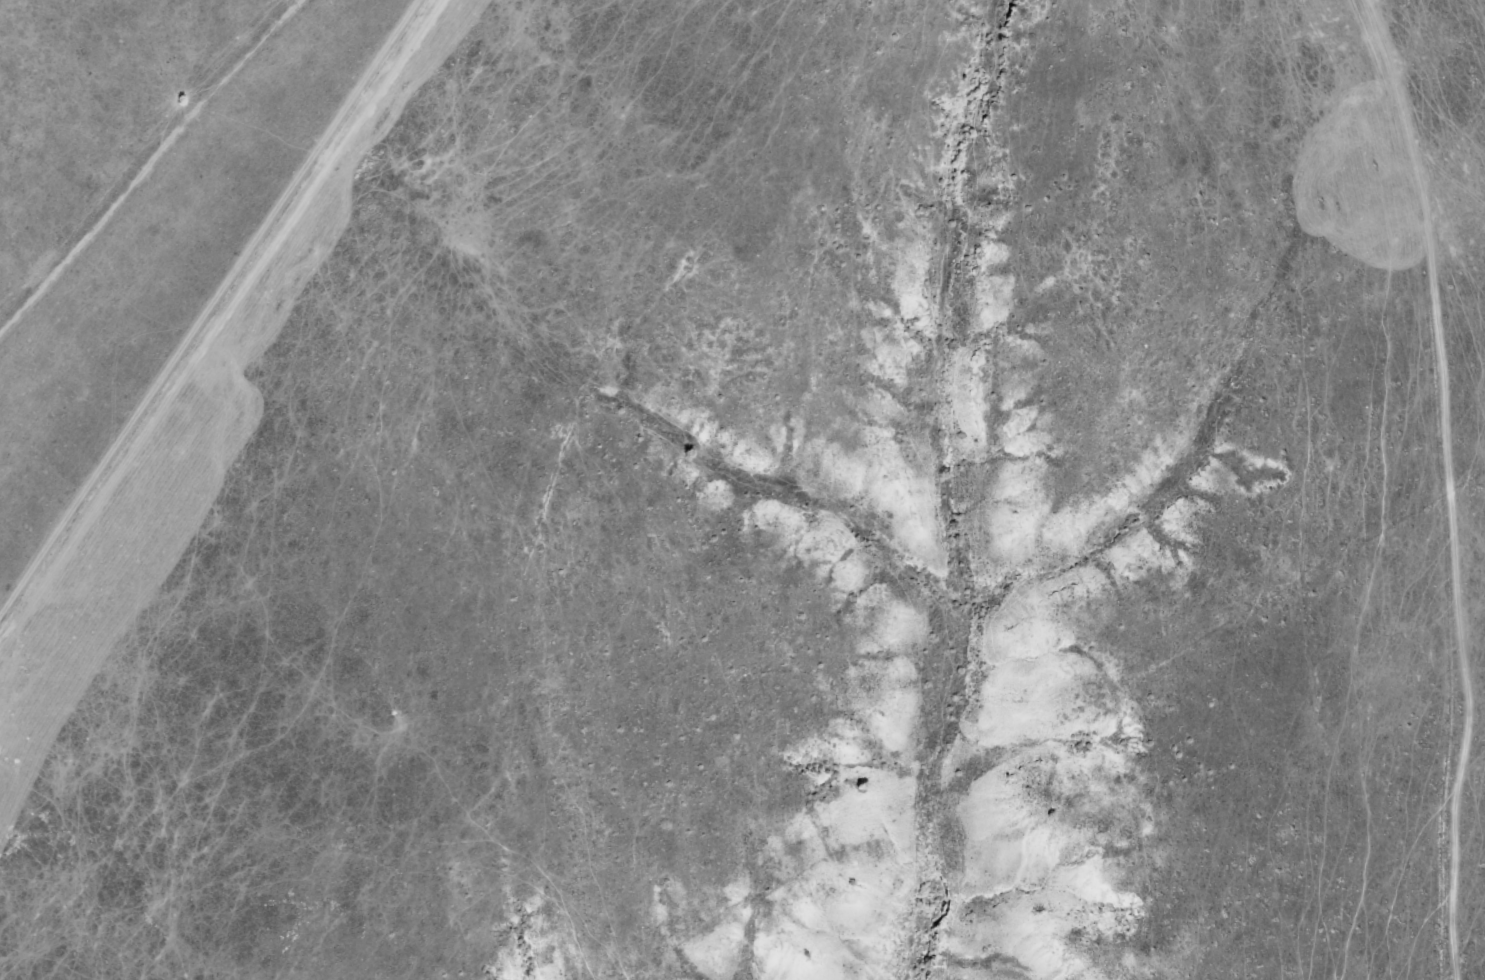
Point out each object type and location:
road: (1448, 485)

